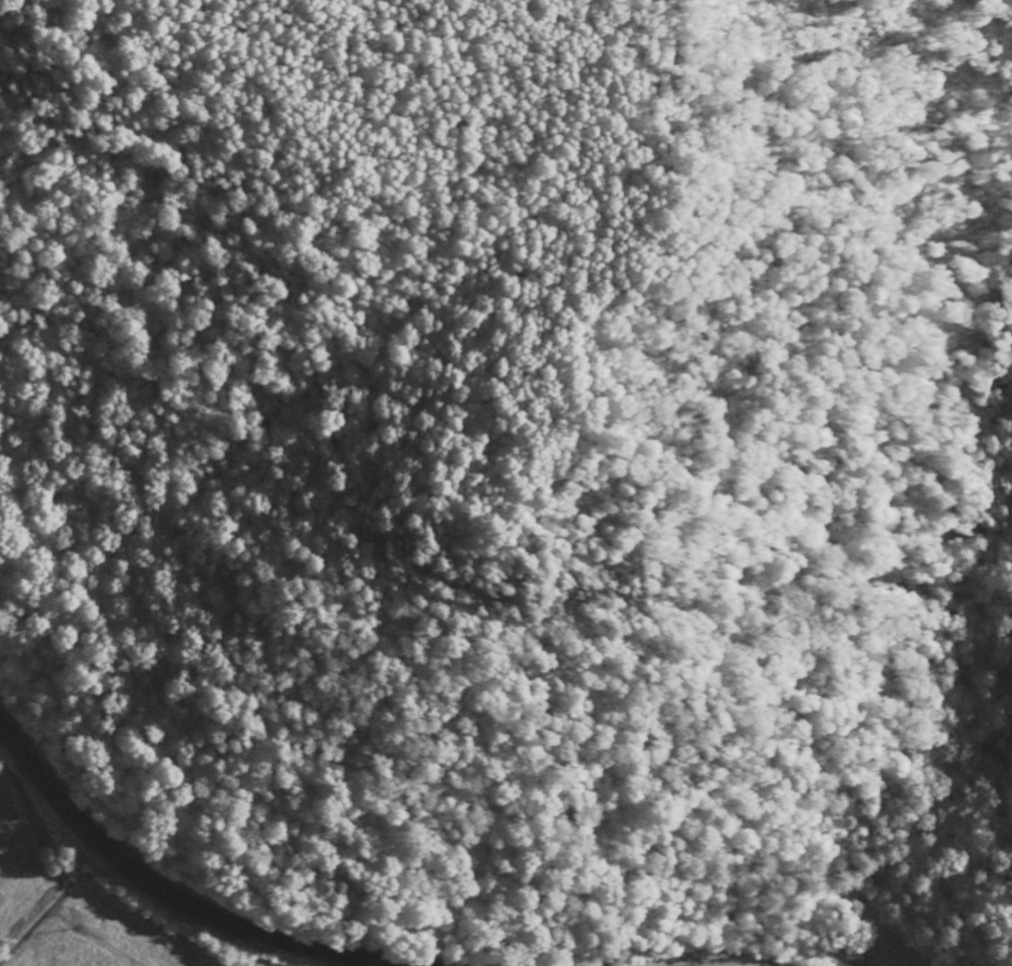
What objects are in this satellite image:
road: (172, 893)

